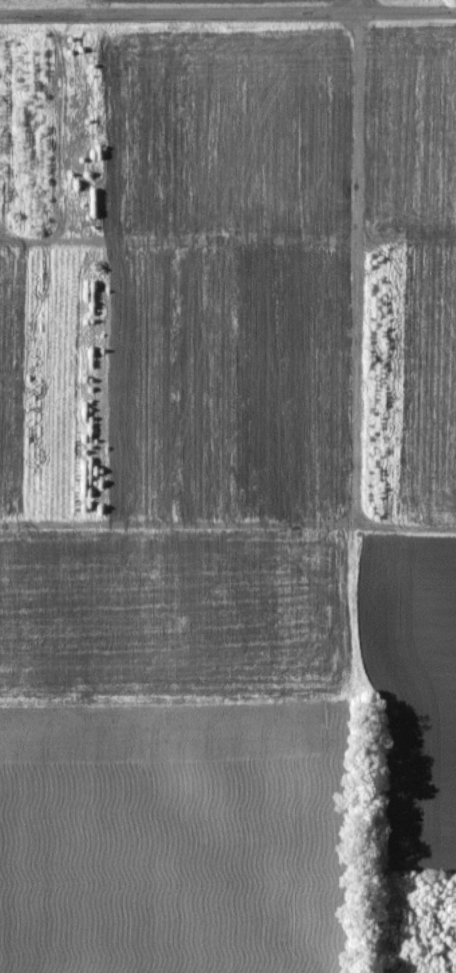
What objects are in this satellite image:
road: (367, 6)
road: (227, 12)

